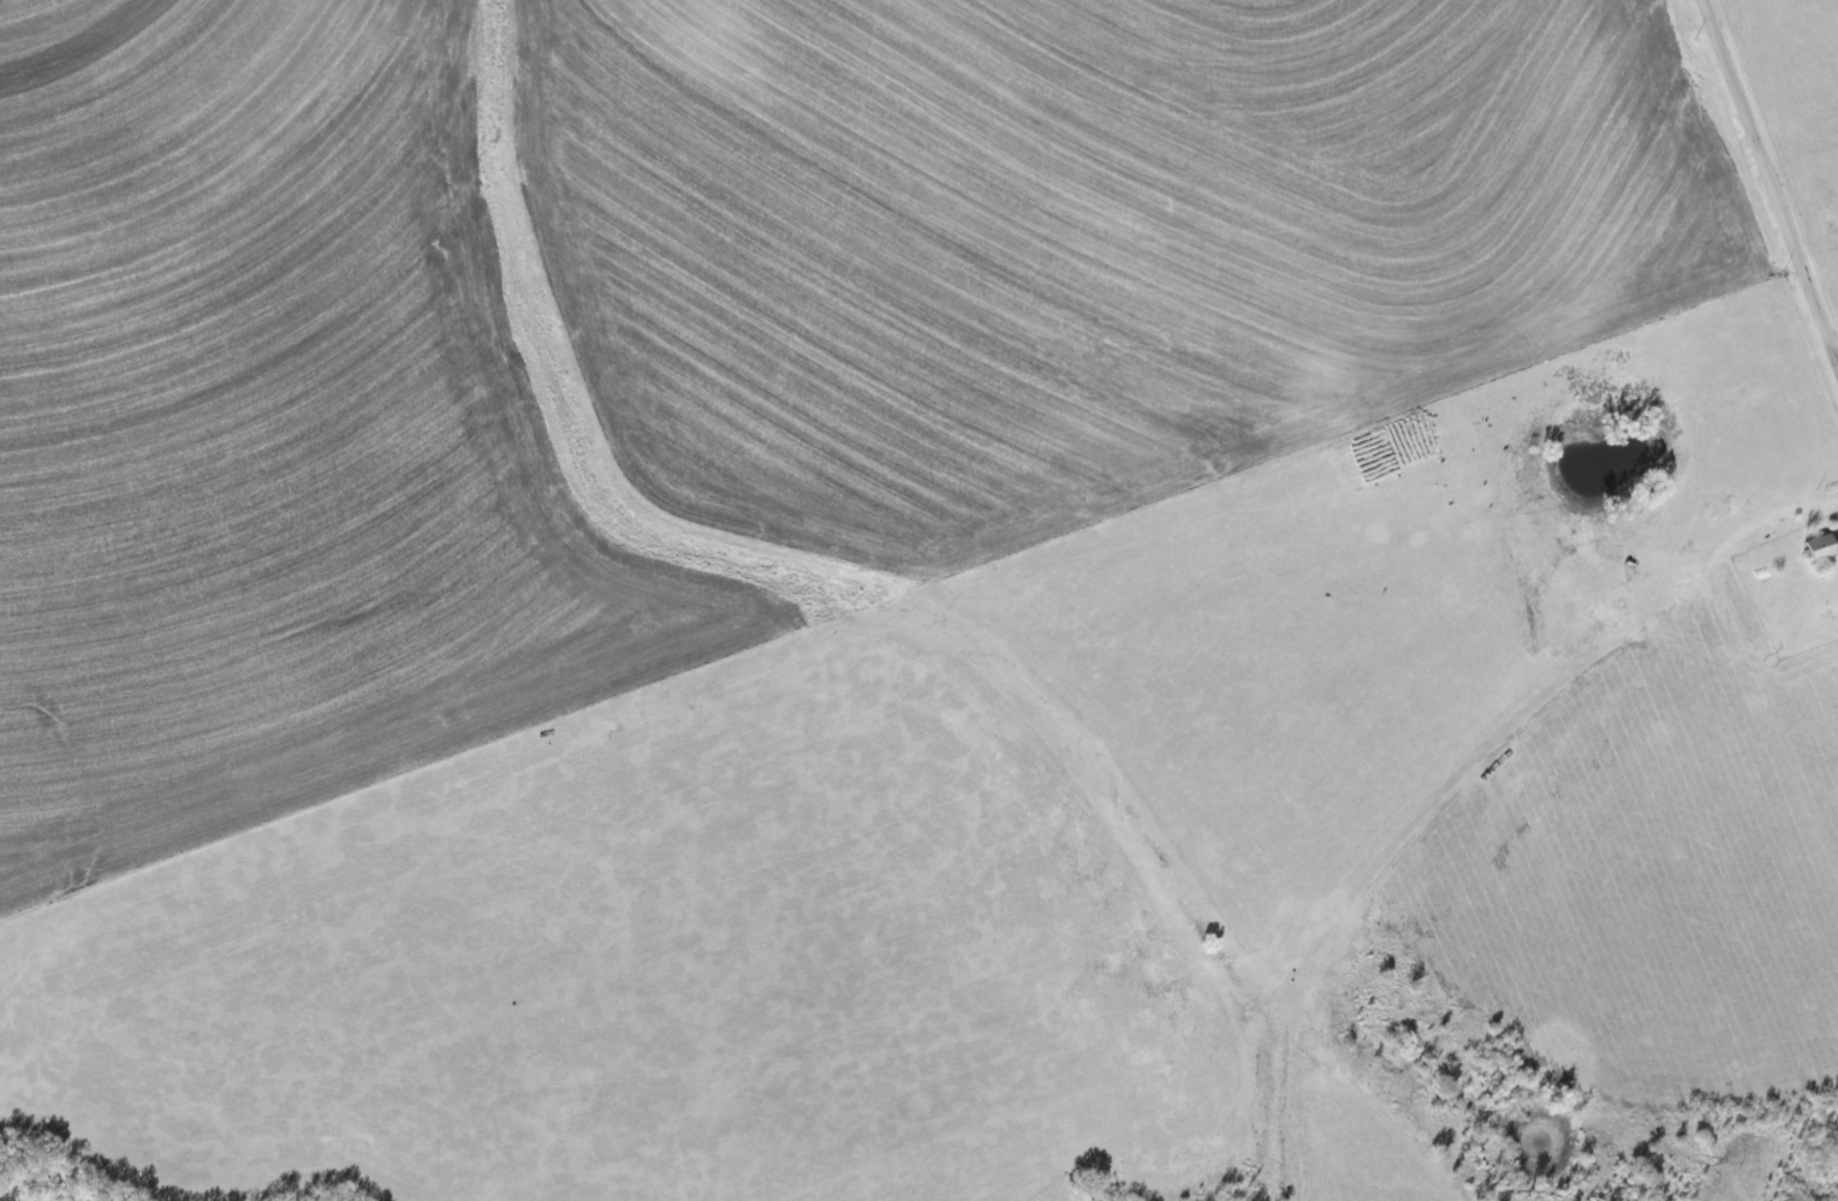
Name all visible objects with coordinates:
road: (1769, 182)

